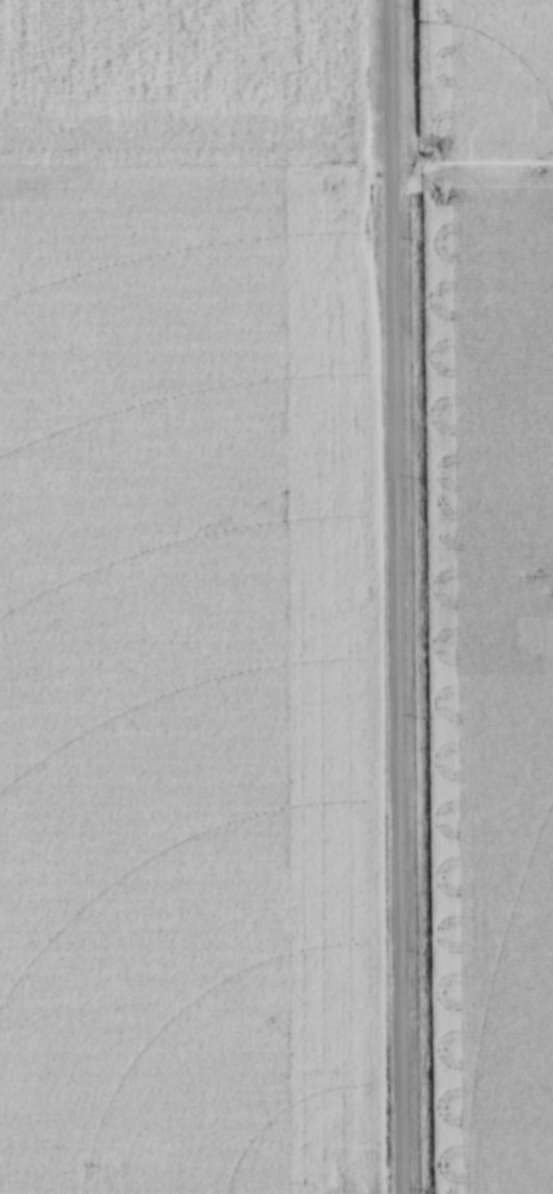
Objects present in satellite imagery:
crop: (489, 83)
road: (391, 596)

